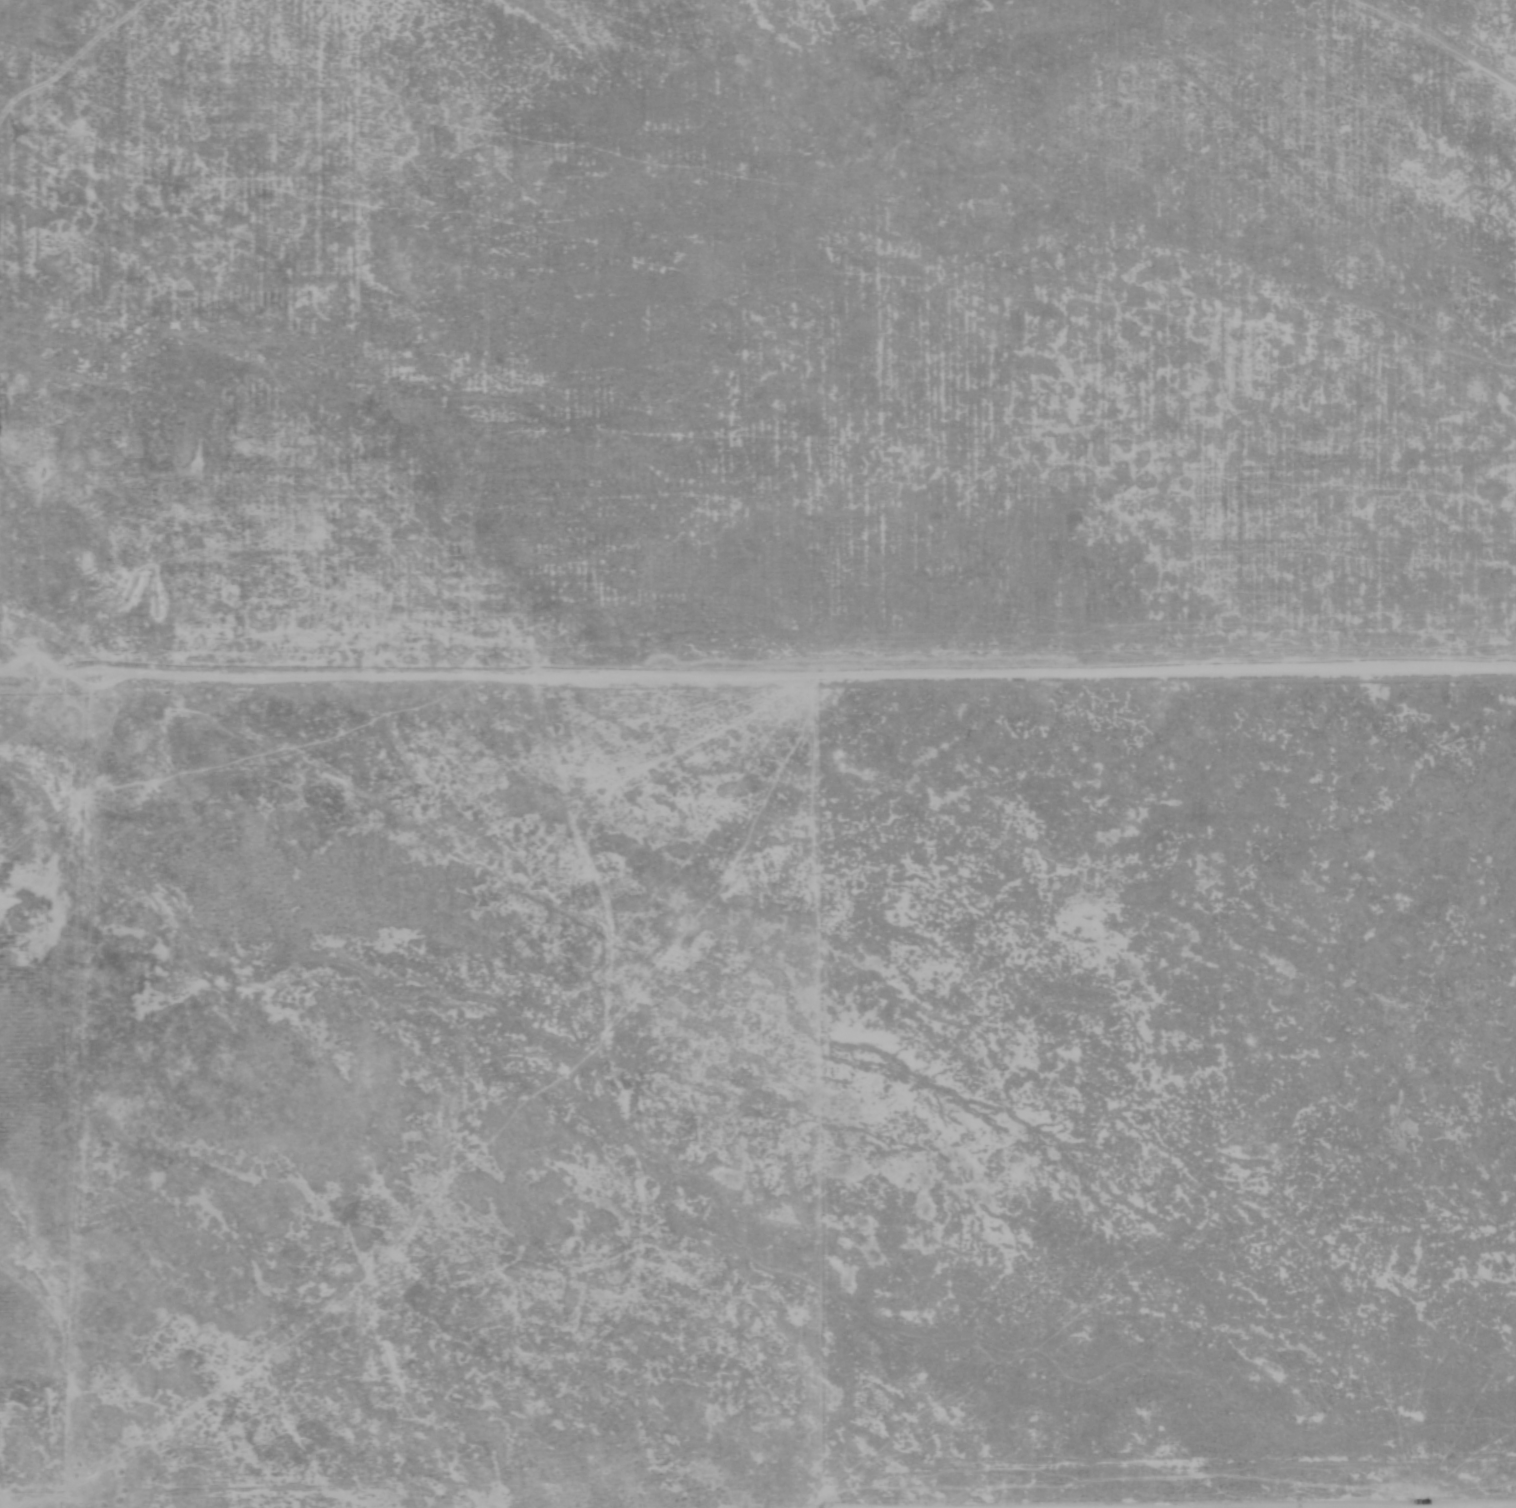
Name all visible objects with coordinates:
crop: (1116, 1505)

